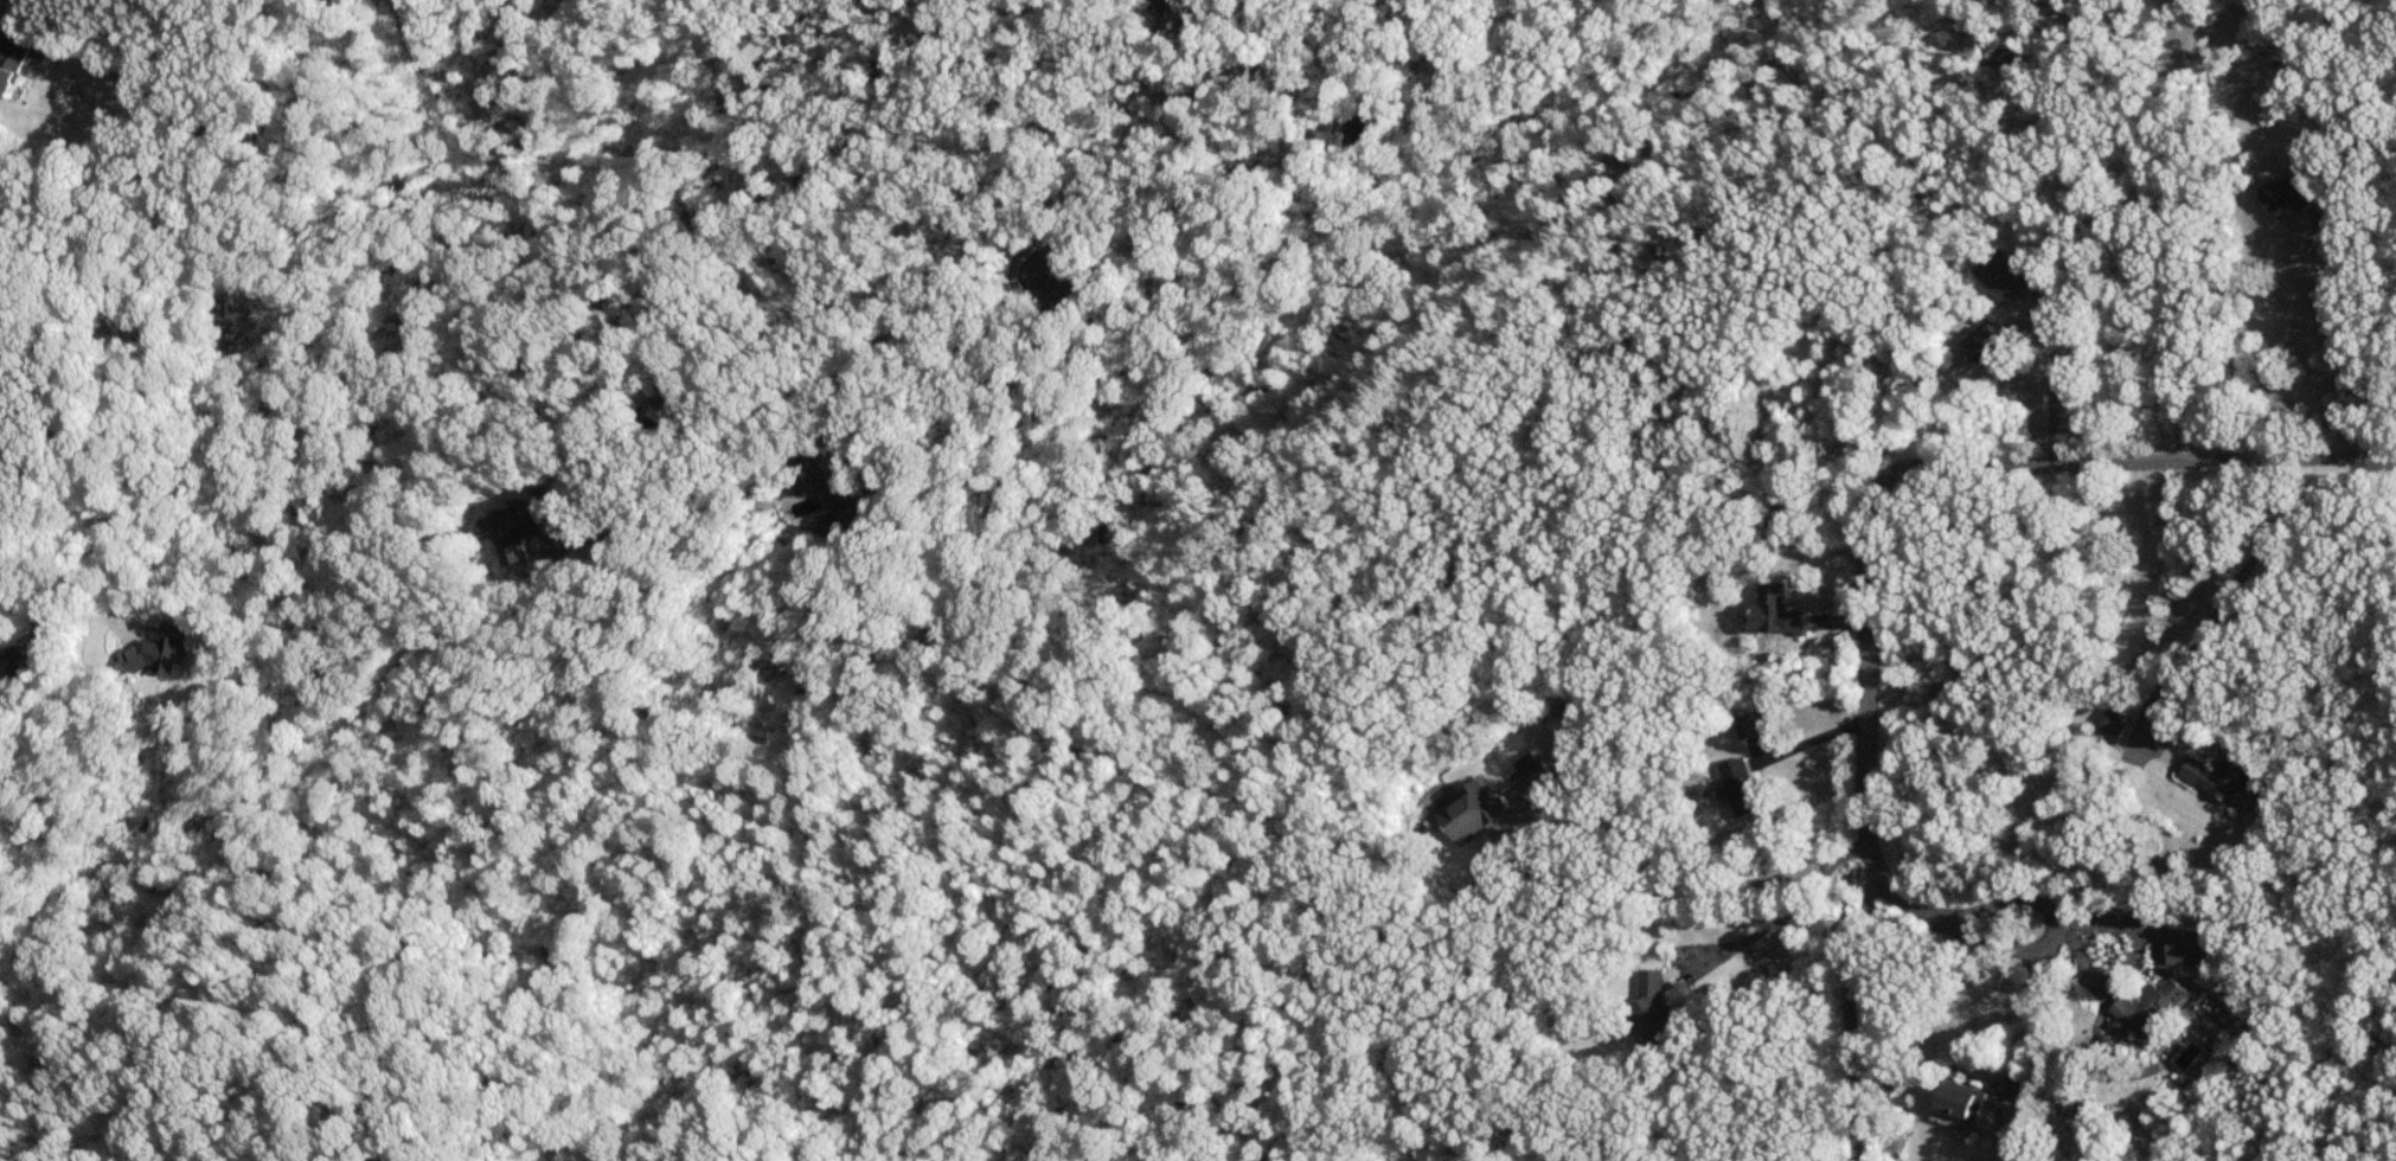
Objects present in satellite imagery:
road: (781, 26)
building: (13, 64)
building: (2285, 195)
road: (978, 224)
building: (1058, 281)
road: (2341, 333)
building: (1987, 347)
road: (2054, 385)
building: (670, 418)
road: (2275, 457)
building: (6, 475)
road: (703, 477)
building: (1769, 511)
building: (520, 530)
road: (2141, 563)
road: (1866, 586)
road: (24, 611)
building: (1773, 615)
building: (2, 649)
building: (21, 680)
road: (2203, 681)
building: (2113, 723)
building: (1751, 727)
building: (2219, 775)
building: (1740, 789)
building: (1472, 812)
road: (1681, 893)
road: (2013, 903)
road: (1769, 923)
building: (2186, 948)
building: (2147, 1007)
building: (1655, 1013)
road: (1844, 1018)
road: (2027, 1035)
building: (1954, 1103)
building: (376, 1154)

